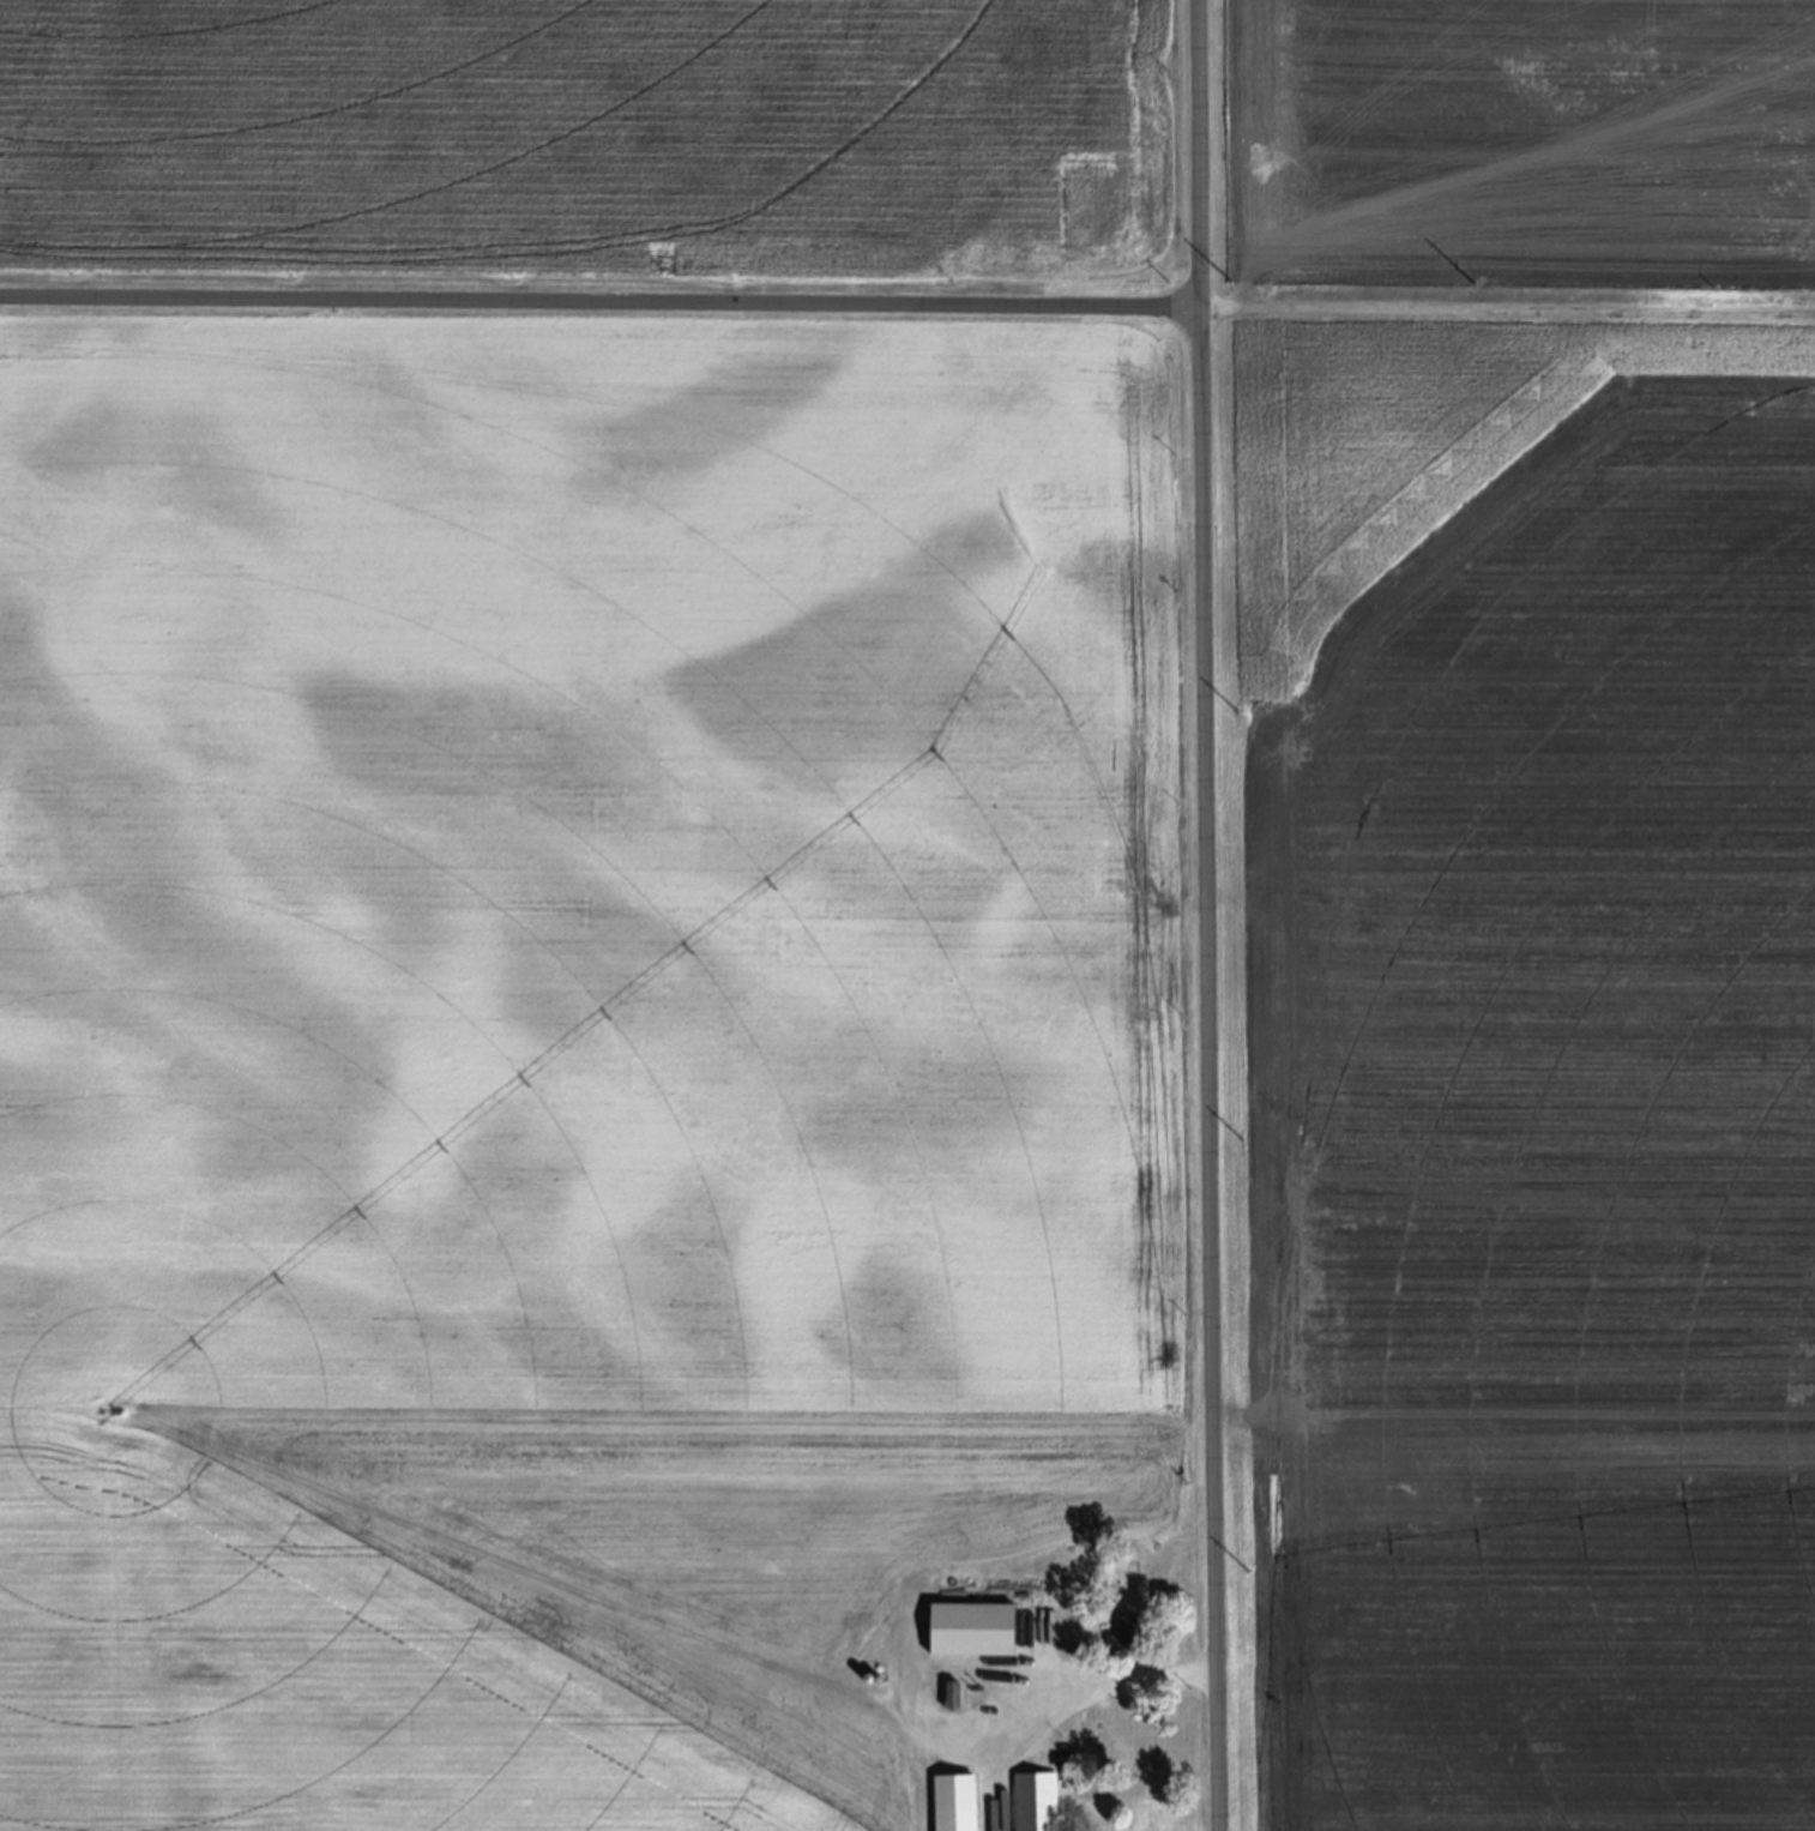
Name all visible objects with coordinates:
power tower: (1240, 281)
power tower: (1475, 282)
power tower: (1715, 285)
road: (598, 308)
power tower: (1241, 709)
road: (1205, 915)
power tower: (1242, 1136)
power tower: (1250, 1567)
building: (993, 1627)
building: (1128, 1632)
building: (1123, 1730)
building: (1036, 1800)
building: (955, 1801)

